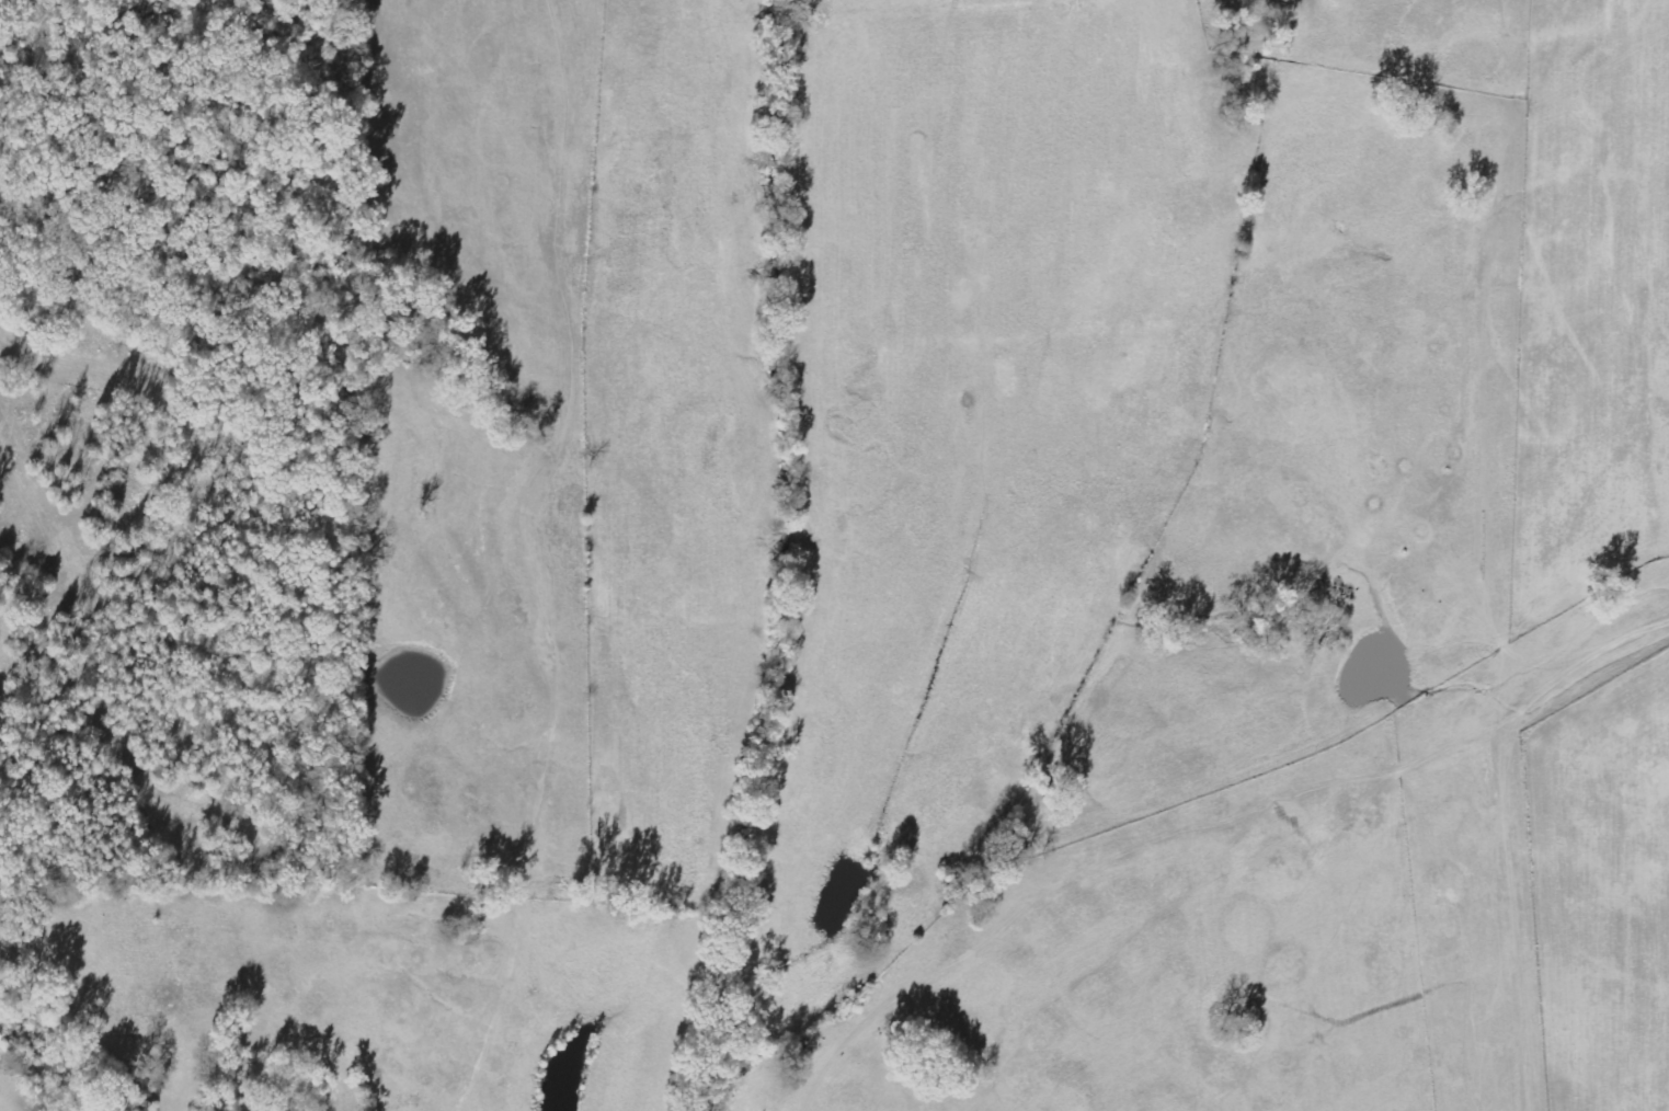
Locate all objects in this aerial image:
road: (1519, 834)

